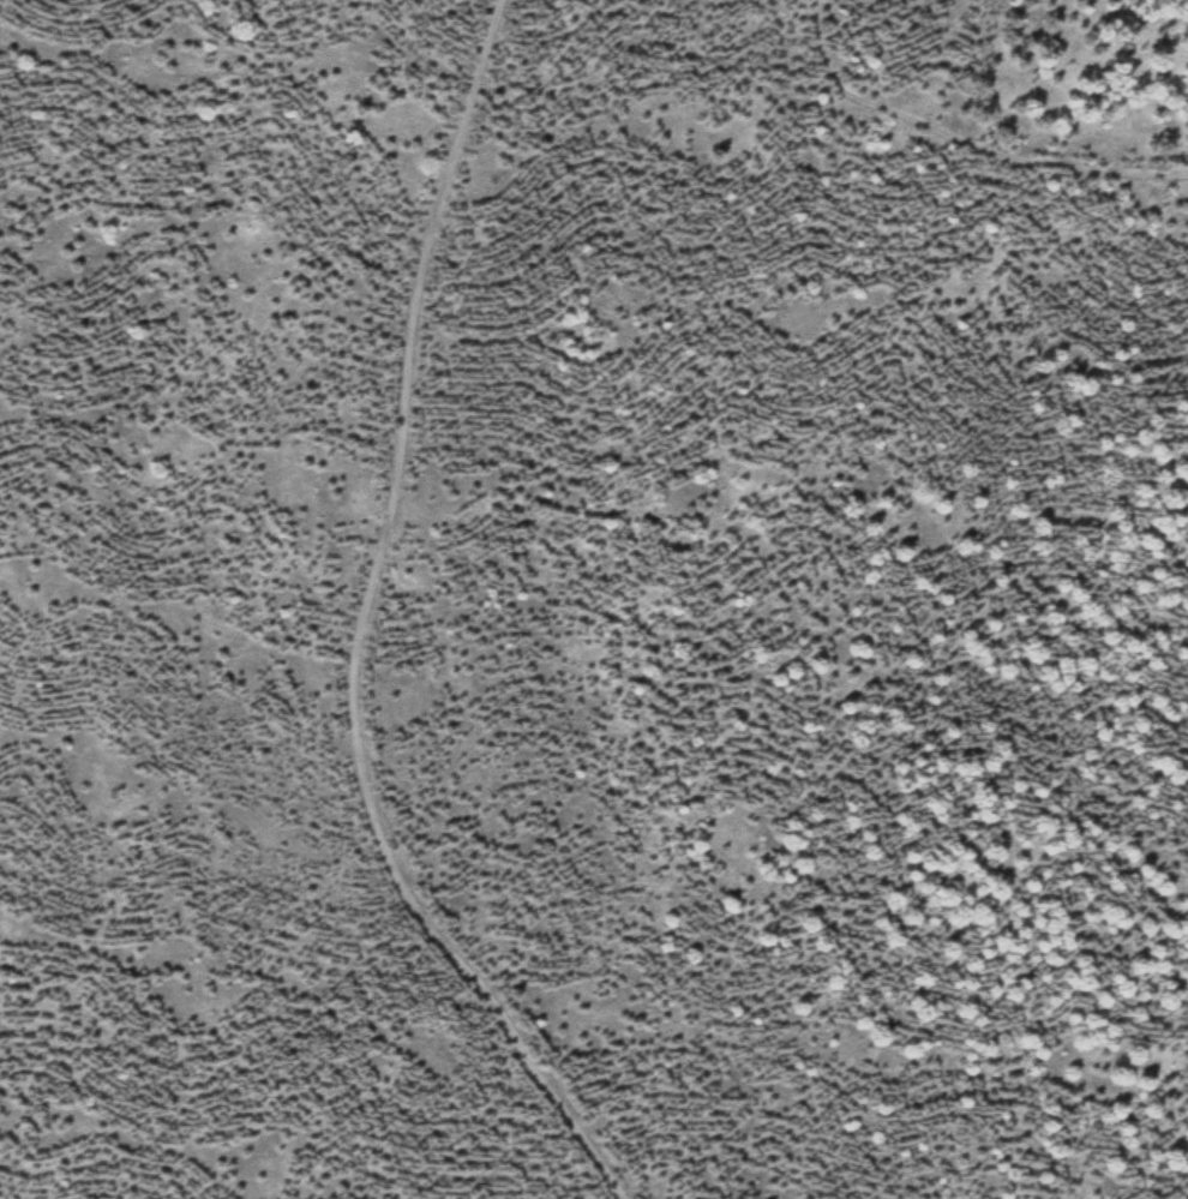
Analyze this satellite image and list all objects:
road: (965, 142)
road: (367, 631)

